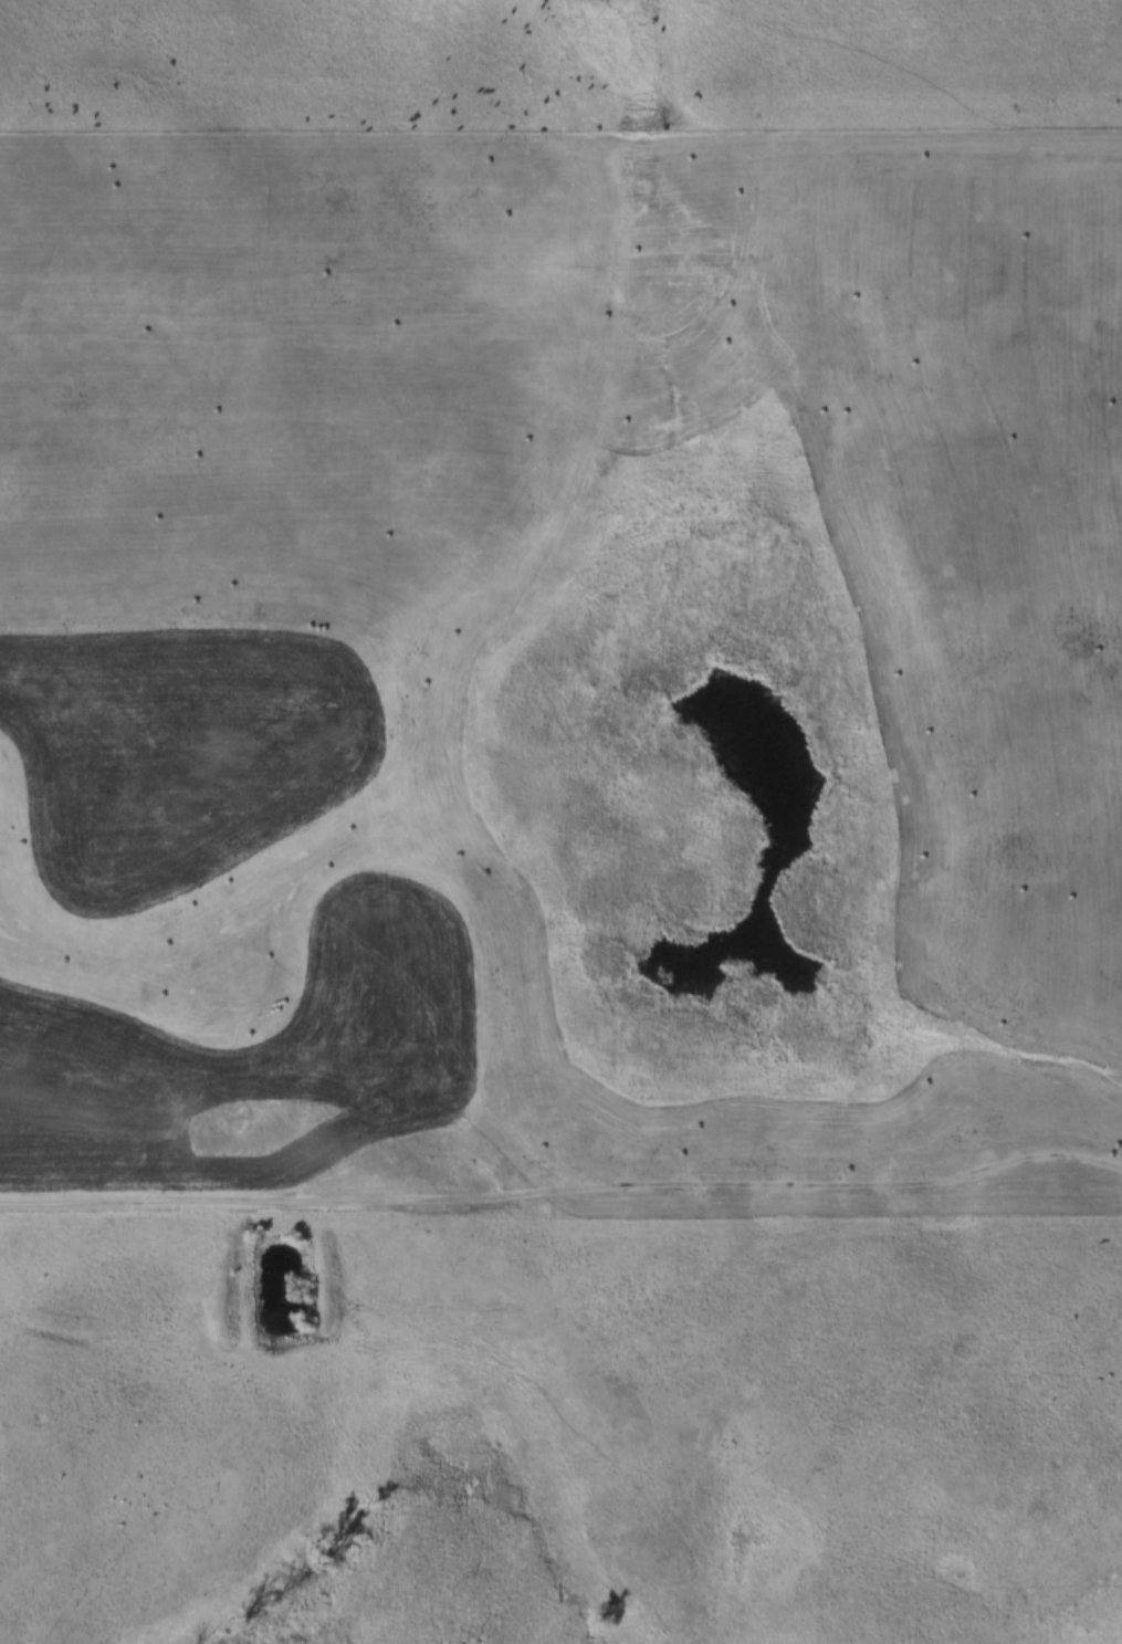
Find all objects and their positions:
road: (560, 1196)

